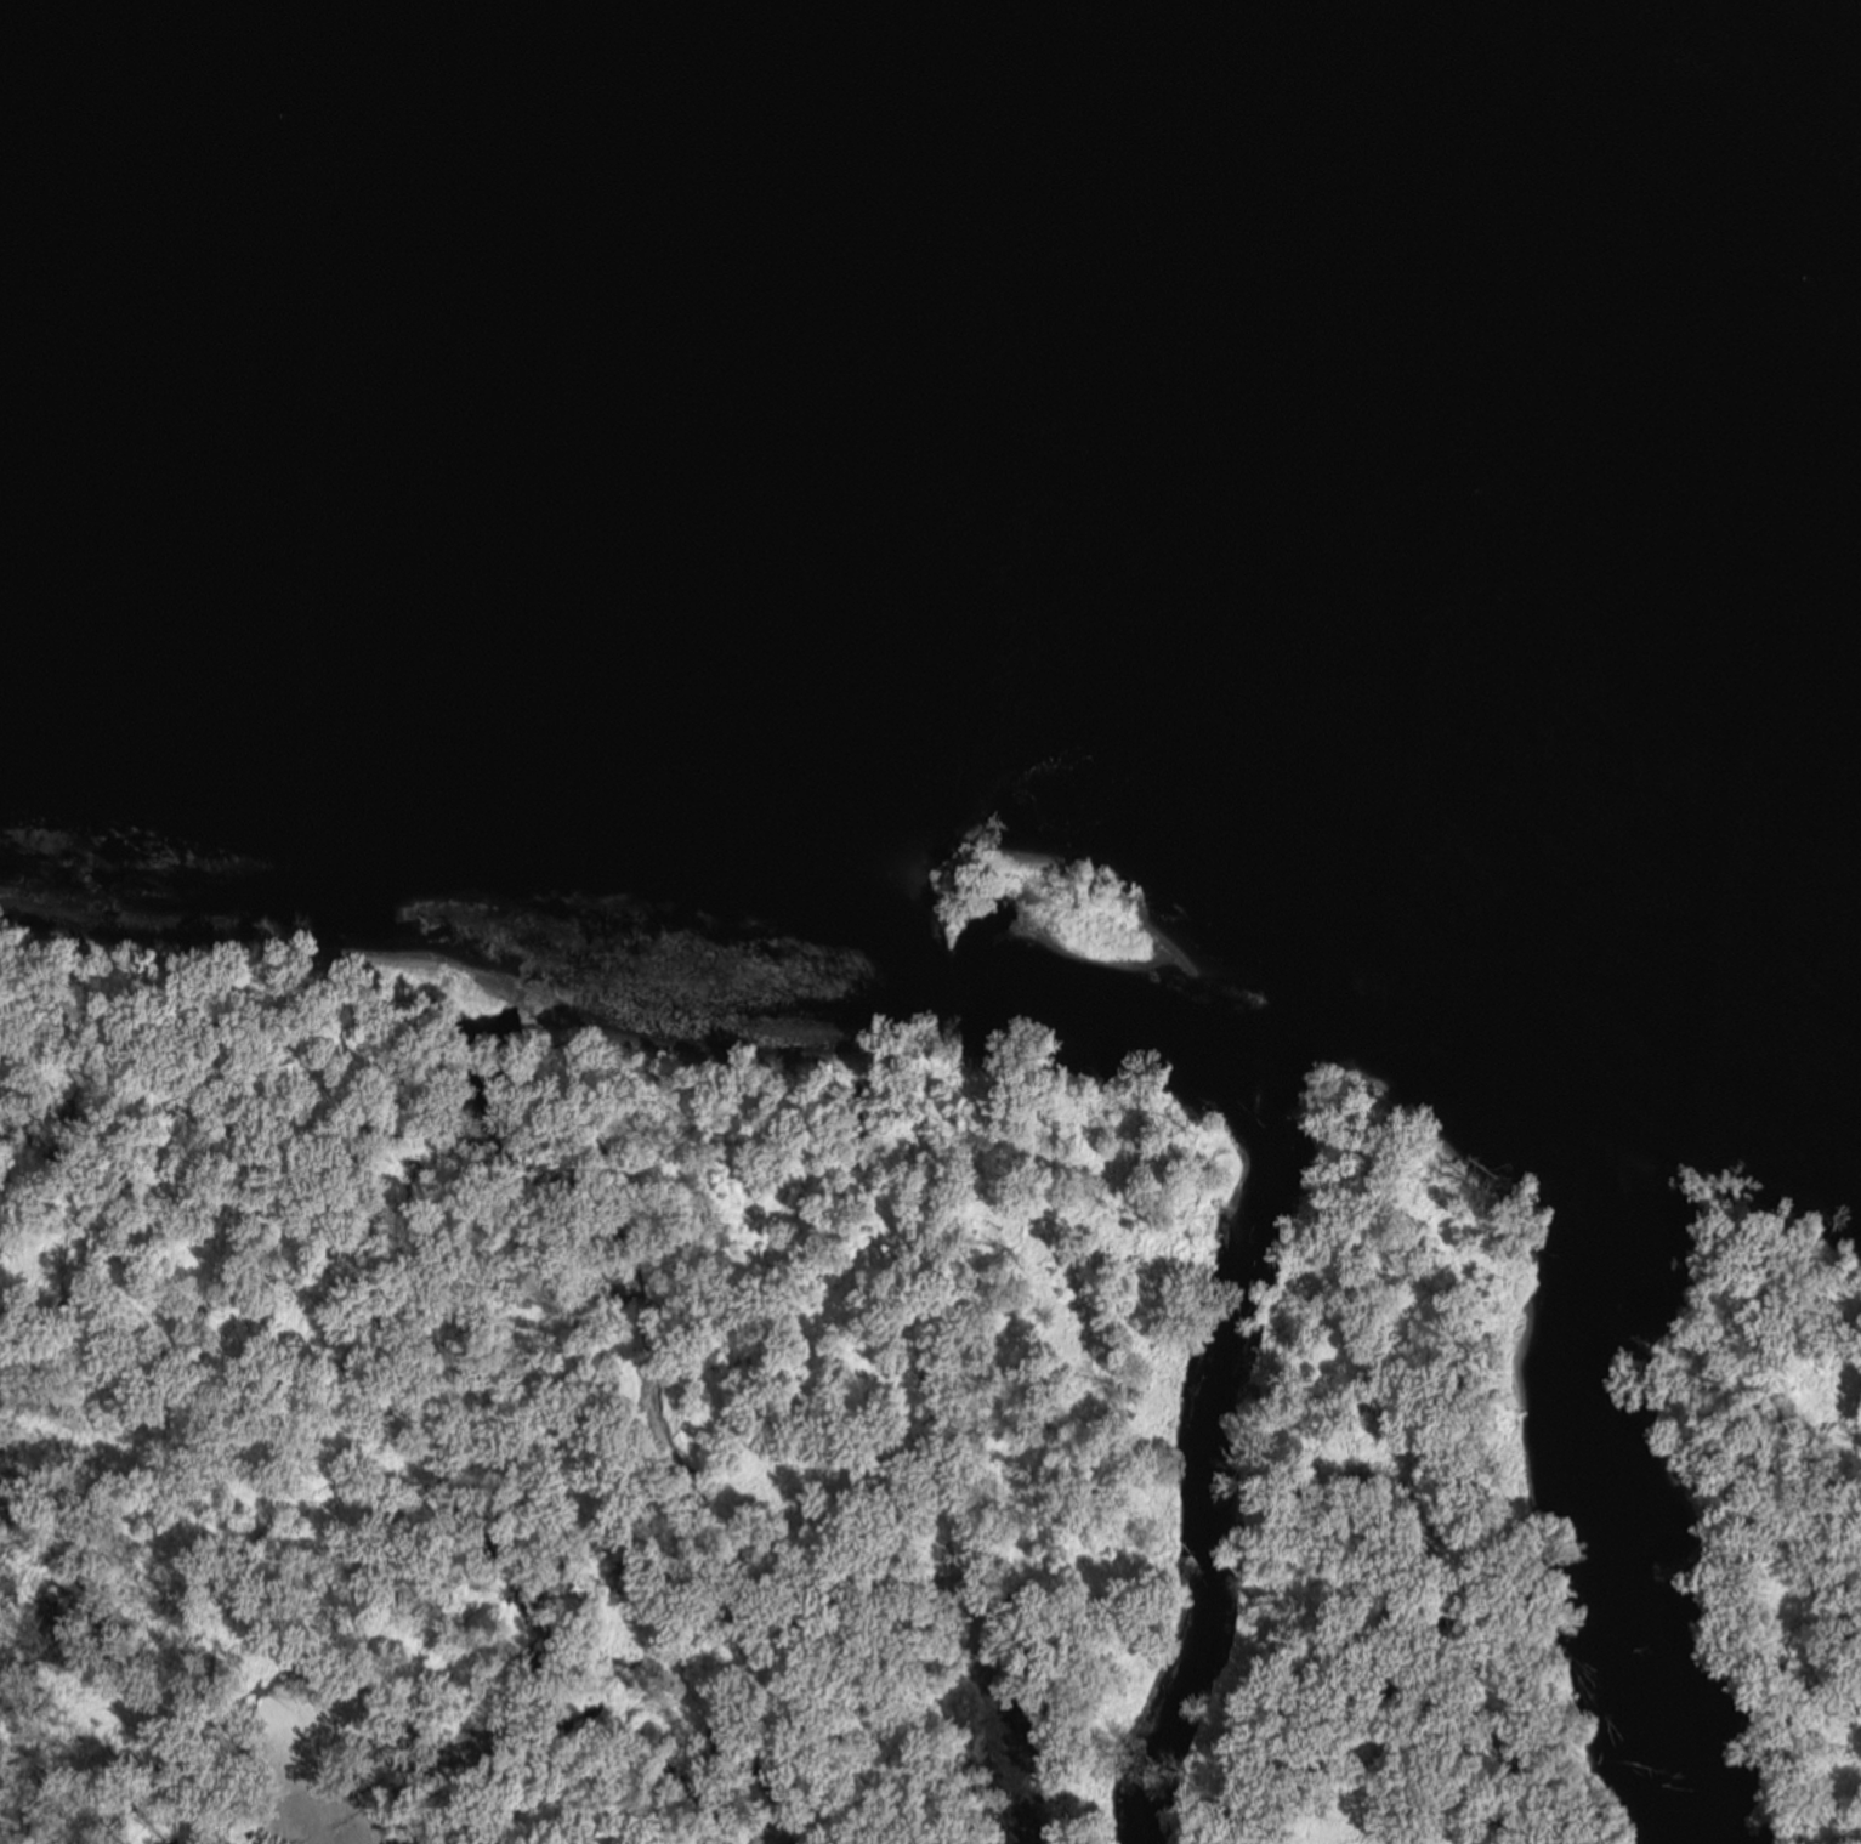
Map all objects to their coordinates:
river: (934, 382)

